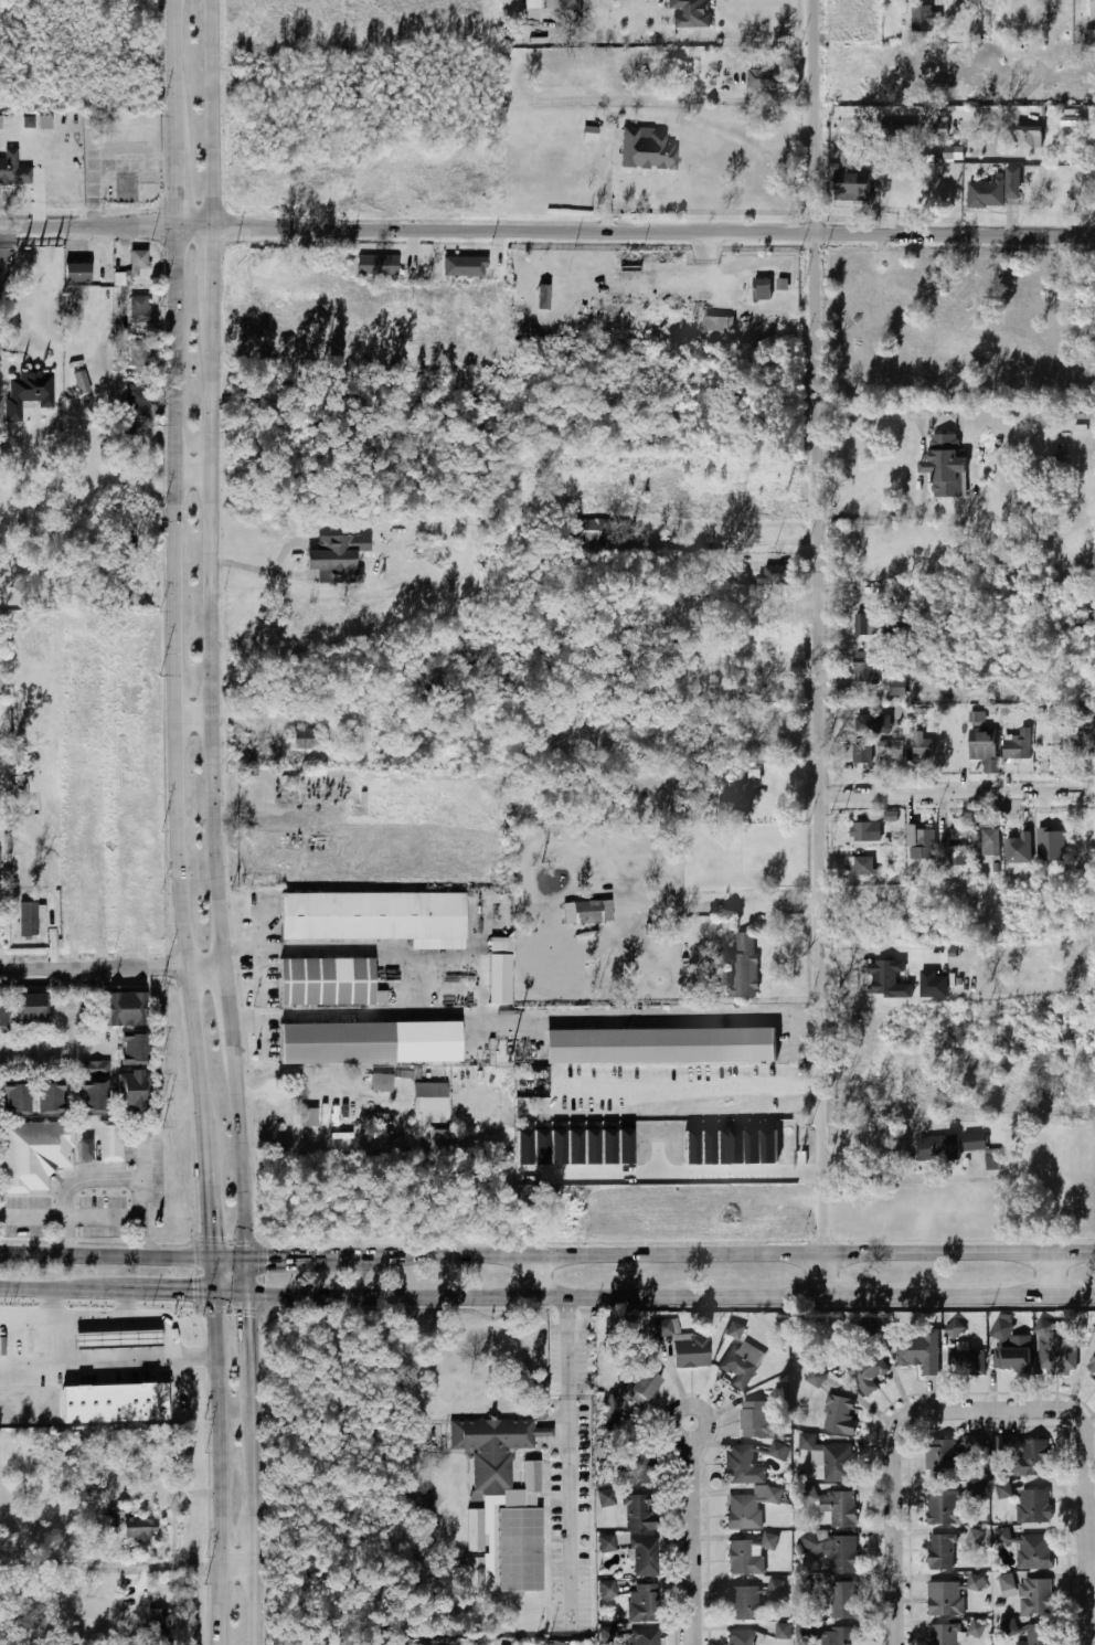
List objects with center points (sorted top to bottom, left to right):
building: (533, 3)
building: (564, 4)
building: (690, 13)
building: (925, 18)
road: (180, 32)
road: (750, 34)
building: (761, 78)
road: (180, 105)
road: (915, 112)
road: (215, 113)
building: (0, 121)
building: (29, 121)
building: (45, 121)
building: (942, 128)
building: (895, 135)
building: (1029, 137)
building: (646, 150)
building: (954, 152)
building: (12, 169)
road: (181, 185)
building: (852, 187)
building: (124, 188)
building: (991, 189)
building: (904, 194)
road: (546, 232)
road: (4, 251)
building: (138, 259)
building: (378, 265)
building: (453, 266)
building: (76, 272)
building: (782, 284)
road: (212, 287)
building: (761, 290)
building: (543, 296)
building: (73, 301)
building: (138, 309)
building: (715, 323)
building: (140, 353)
building: (81, 381)
building: (28, 392)
building: (137, 401)
road: (874, 412)
building: (137, 445)
building: (945, 466)
road: (195, 471)
road: (890, 518)
building: (583, 532)
building: (333, 560)
building: (774, 575)
building: (680, 614)
building: (770, 617)
building: (863, 626)
road: (821, 647)
road: (179, 658)
building: (865, 667)
road: (198, 718)
building: (872, 723)
building: (1051, 732)
building: (304, 739)
building: (1083, 742)
building: (981, 744)
building: (1018, 744)
building: (922, 749)
building: (862, 753)
building: (740, 792)
road: (959, 792)
road: (216, 803)
building: (864, 832)
building: (989, 841)
building: (921, 842)
building: (1019, 843)
building: (1051, 845)
building: (957, 848)
building: (861, 866)
road: (6, 868)
road: (723, 906)
building: (587, 912)
building: (375, 917)
building: (26, 919)
road: (114, 967)
building: (737, 969)
building: (499, 970)
building: (889, 979)
building: (328, 983)
building: (934, 985)
building: (29, 1008)
building: (125, 1009)
building: (2, 1015)
road: (67, 1039)
building: (365, 1043)
building: (659, 1046)
building: (132, 1049)
building: (381, 1083)
building: (93, 1086)
building: (131, 1090)
road: (689, 1091)
building: (429, 1097)
building: (14, 1100)
building: (49, 1100)
building: (307, 1117)
building: (109, 1140)
building: (975, 1142)
building: (86, 1148)
building: (938, 1148)
building: (33, 1154)
building: (992, 1161)
road: (206, 1172)
road: (89, 1178)
road: (891, 1186)
road: (102, 1217)
traffic signals: (210, 1231)
road: (145, 1238)
traffic signals: (269, 1251)
road: (332, 1251)
road: (756, 1252)
road: (104, 1253)
road: (227, 1254)
road: (211, 1272)
road: (246, 1273)
road: (1046, 1273)
road: (536, 1274)
road: (36, 1286)
road: (143, 1288)
traffic signals: (194, 1291)
road: (228, 1291)
road: (670, 1294)
road: (126, 1302)
traffic signals: (247, 1309)
road: (83, 1316)
road: (57, 1324)
road: (248, 1326)
building: (735, 1329)
building: (1094, 1330)
building: (952, 1333)
road: (168, 1338)
building: (117, 1339)
gas station: (117, 1339)
building: (684, 1346)
building: (1011, 1346)
building: (1054, 1349)
building: (919, 1352)
road: (108, 1360)
building: (741, 1363)
building: (966, 1363)
building: (1092, 1363)
building: (867, 1373)
building: (816, 1378)
road: (253, 1384)
building: (640, 1388)
building: (114, 1403)
building: (610, 1408)
building: (839, 1415)
building: (757, 1420)
building: (490, 1448)
building: (776, 1451)
road: (568, 1458)
building: (1031, 1460)
building: (942, 1461)
building: (832, 1462)
building: (741, 1466)
road: (222, 1467)
building: (637, 1471)
road: (1089, 1483)
road: (895, 1486)
building: (1004, 1490)
building: (810, 1495)
building: (1033, 1506)
building: (748, 1508)
building: (942, 1508)
building: (843, 1509)
building: (636, 1513)
building: (110, 1516)
road: (257, 1526)
building: (139, 1529)
building: (474, 1531)
road: (694, 1532)
building: (1003, 1536)
building: (519, 1538)
building: (606, 1542)
building: (832, 1551)
building: (1033, 1552)
building: (940, 1553)
building: (644, 1558)
building: (745, 1558)
road: (129, 1568)
building: (474, 1580)
building: (975, 1582)
building: (1008, 1583)
building: (774, 1588)
building: (606, 1590)
building: (1035, 1598)
building: (945, 1600)
building: (843, 1601)
building: (642, 1603)
building: (744, 1603)
building: (156, 1624)
building: (1010, 1626)
building: (977, 1627)
building: (784, 1631)
building: (943, 1634)
building: (608, 1635)
building: (1038, 1635)
building: (834, 1636)
building: (645, 1637)
building: (742, 1637)
building: (557, 1643)

